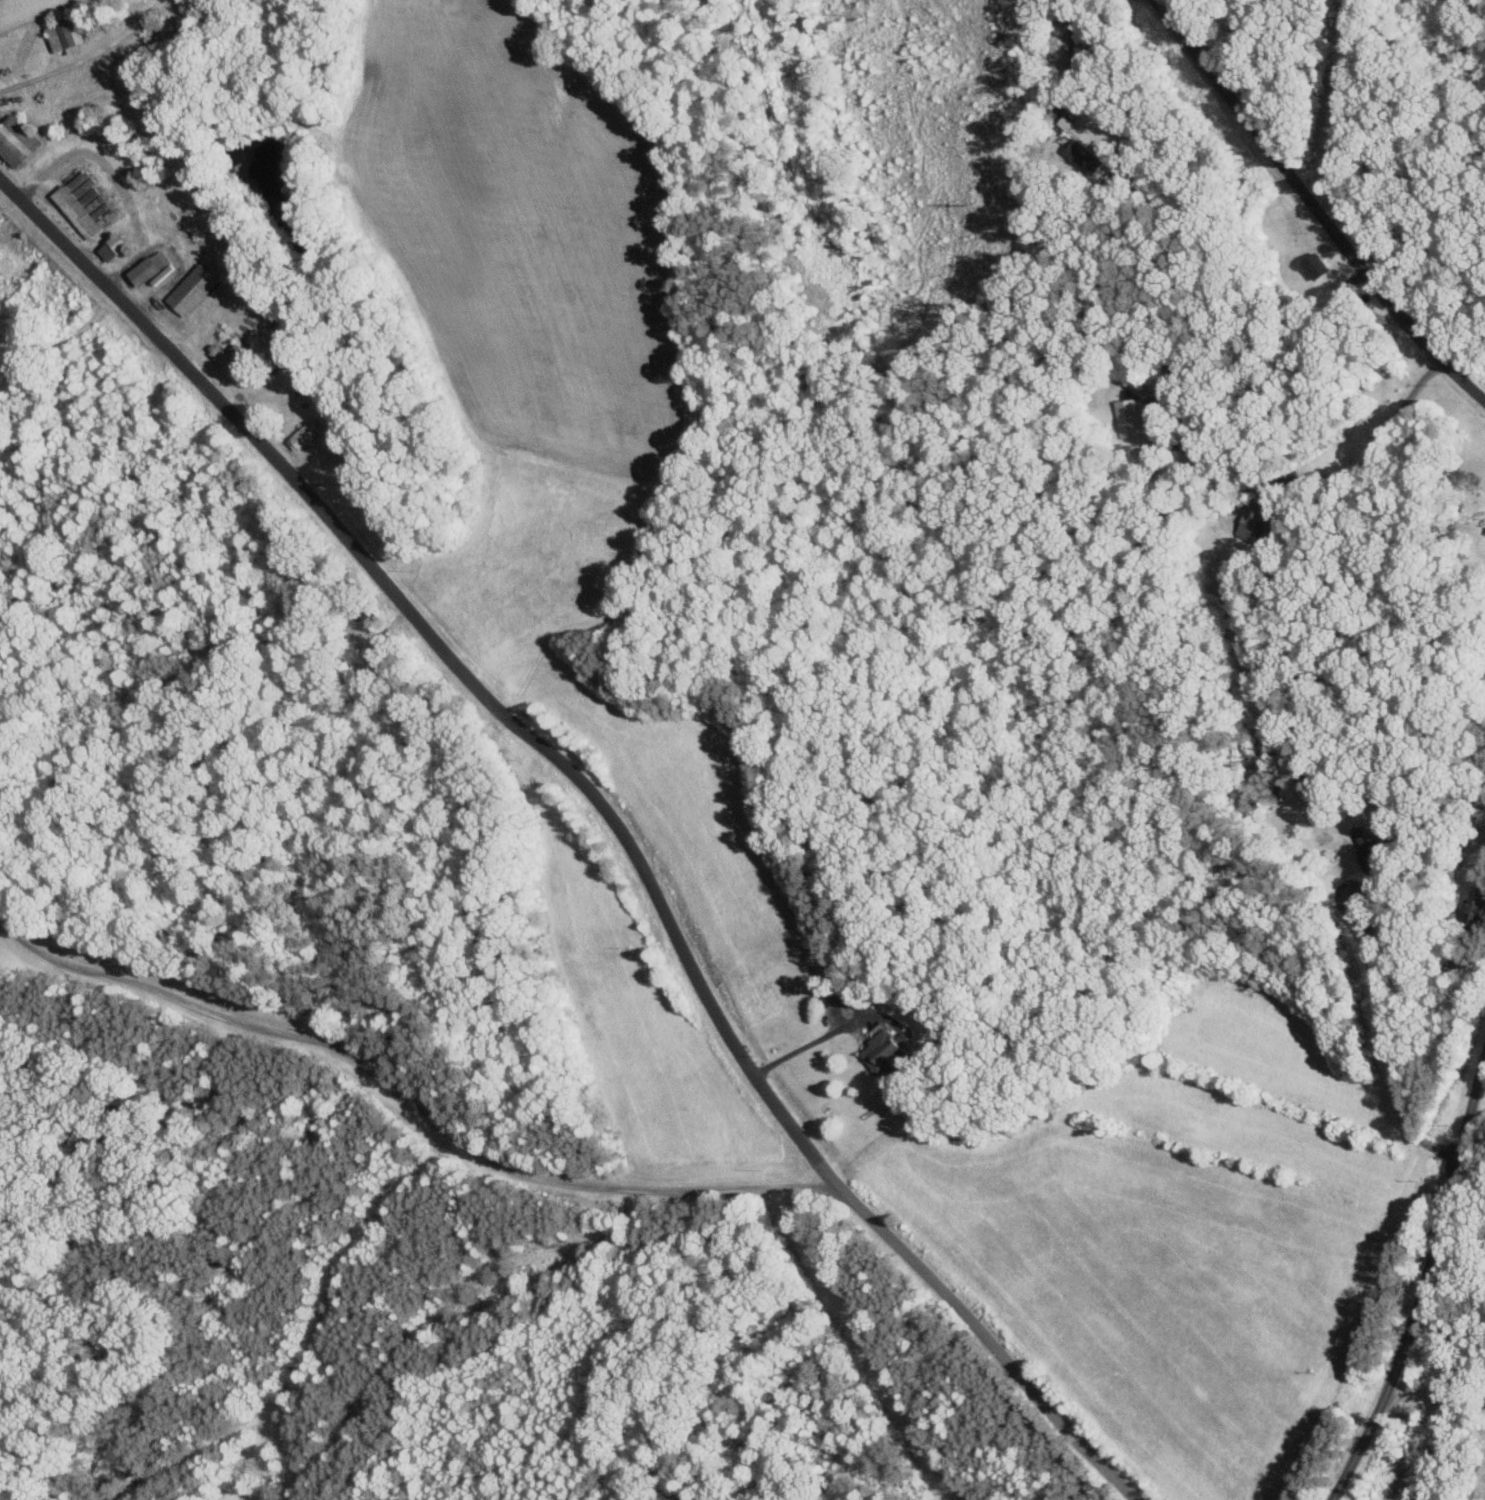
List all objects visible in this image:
road: (1233, 29)
building: (66, 35)
road: (1065, 50)
road: (40, 75)
building: (17, 140)
building: (1083, 153)
building: (86, 204)
road: (1311, 211)
road: (1194, 233)
building: (115, 247)
building: (1316, 266)
building: (150, 267)
building: (194, 289)
building: (242, 352)
building: (1129, 416)
road: (1324, 479)
building: (1251, 521)
road: (598, 811)
building: (1369, 849)
building: (1375, 886)
building: (1476, 902)
road: (1254, 964)
road: (803, 1045)
building: (885, 1048)
road: (414, 1099)
road: (1423, 1286)
road: (1451, 1304)
road: (947, 1425)

